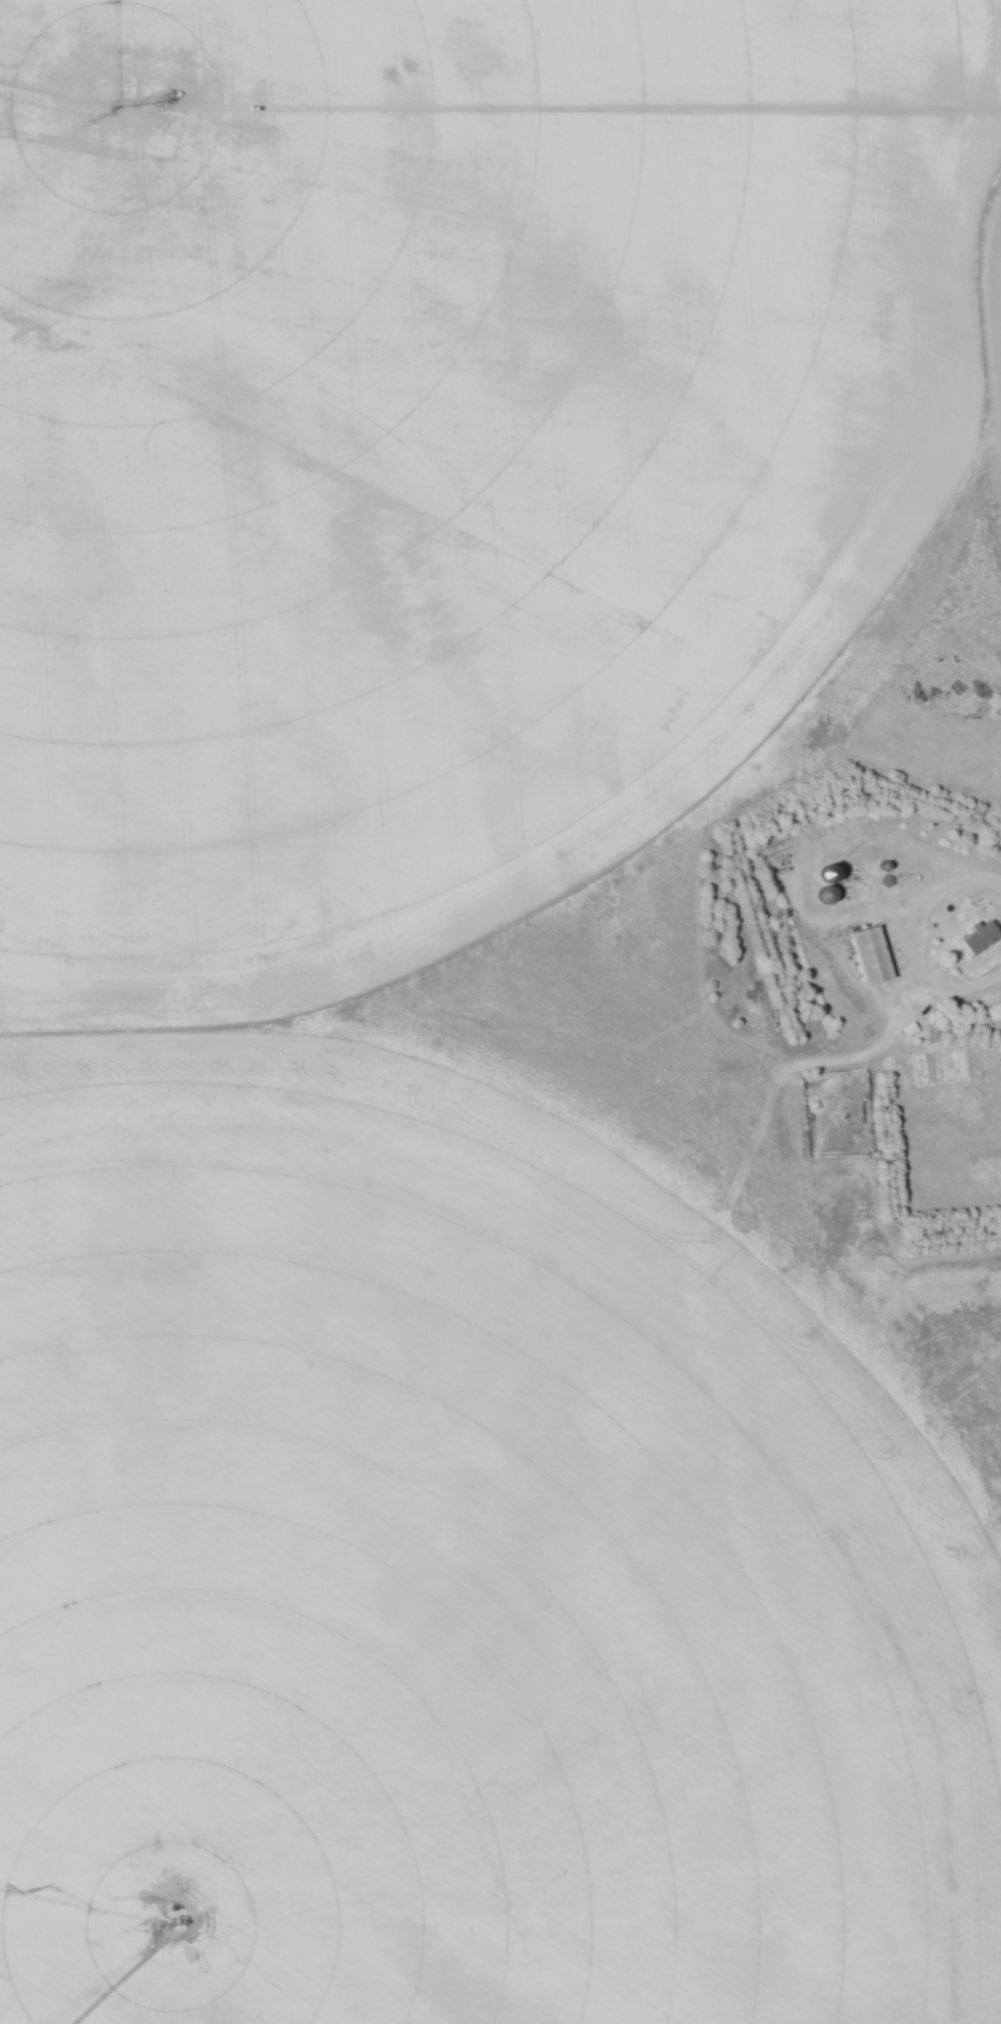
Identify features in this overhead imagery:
road: (993, 272)
building: (826, 874)
building: (828, 894)
building: (979, 938)
building: (871, 956)
road: (994, 963)

